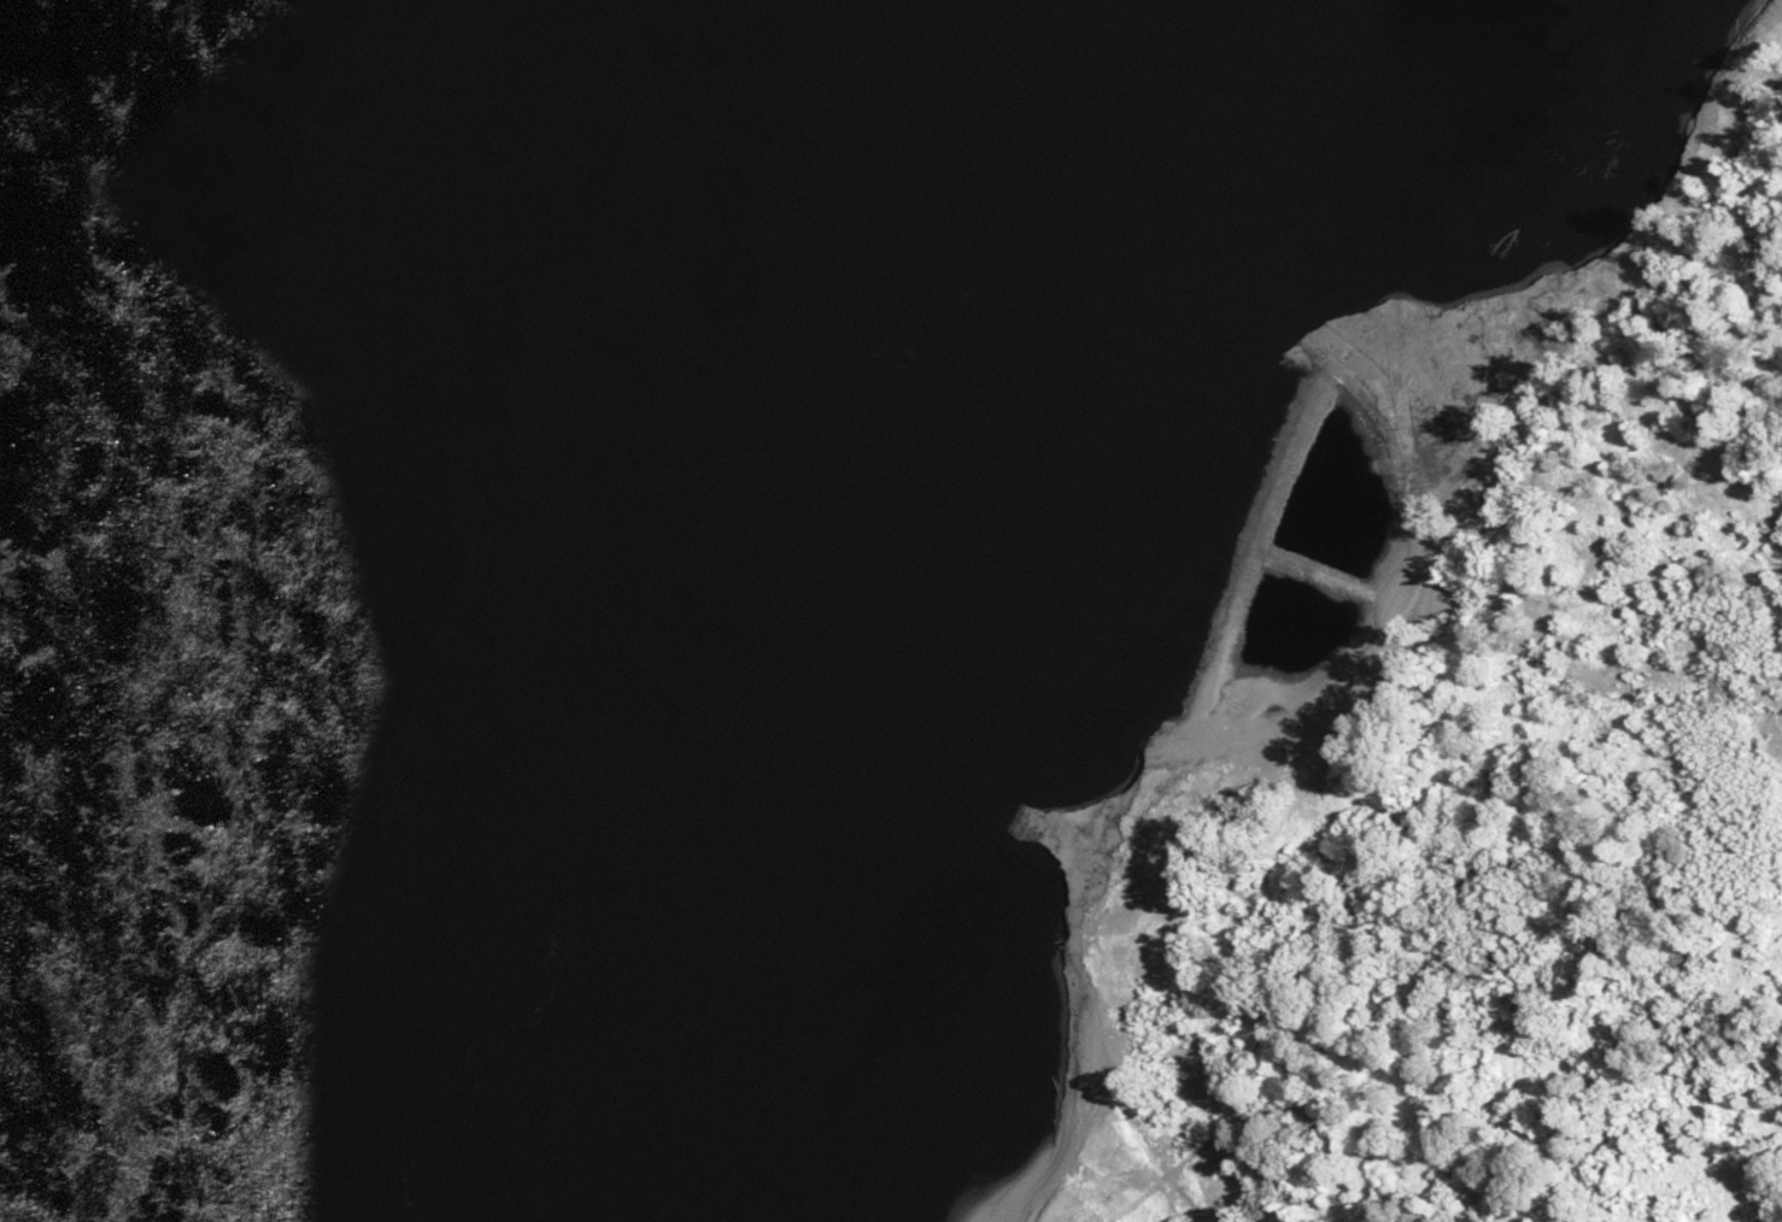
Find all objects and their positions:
river: (234, 583)

